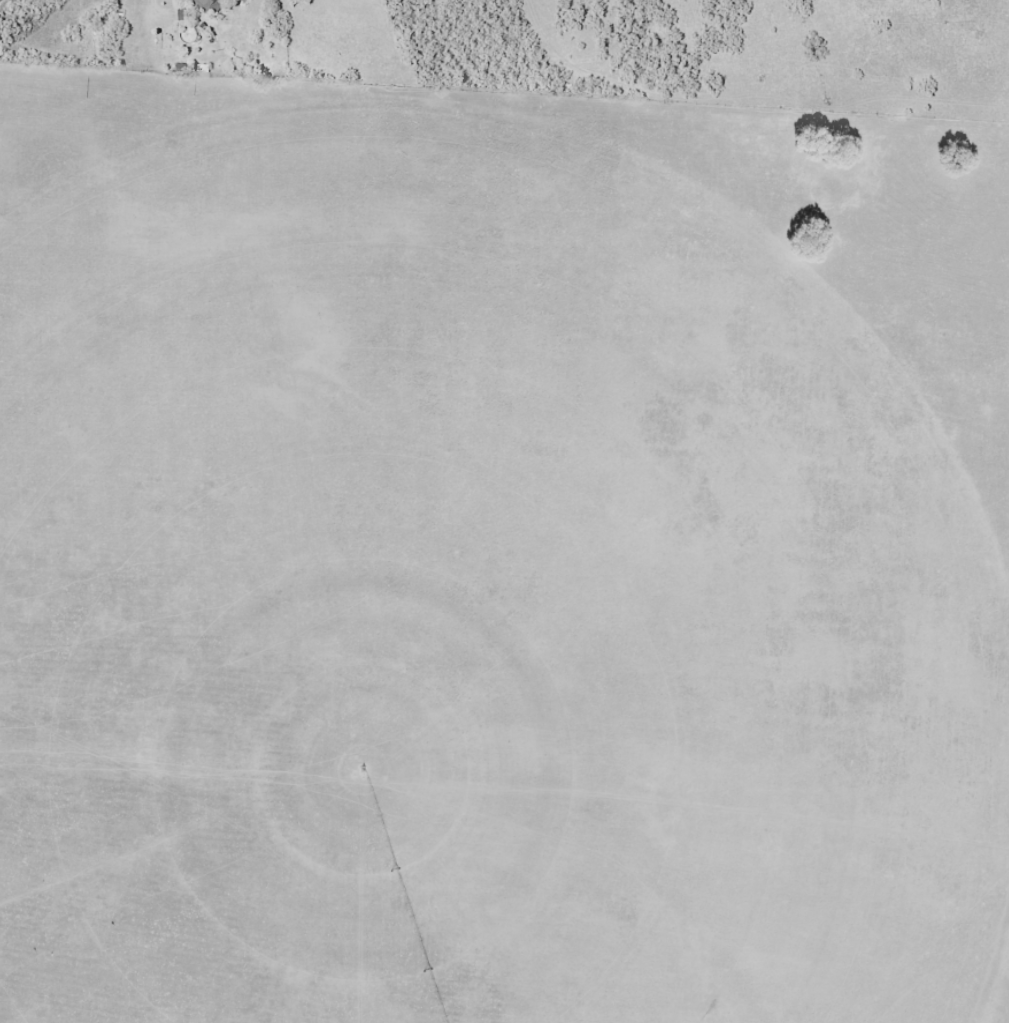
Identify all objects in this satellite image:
building: (209, 6)
road: (150, 9)

